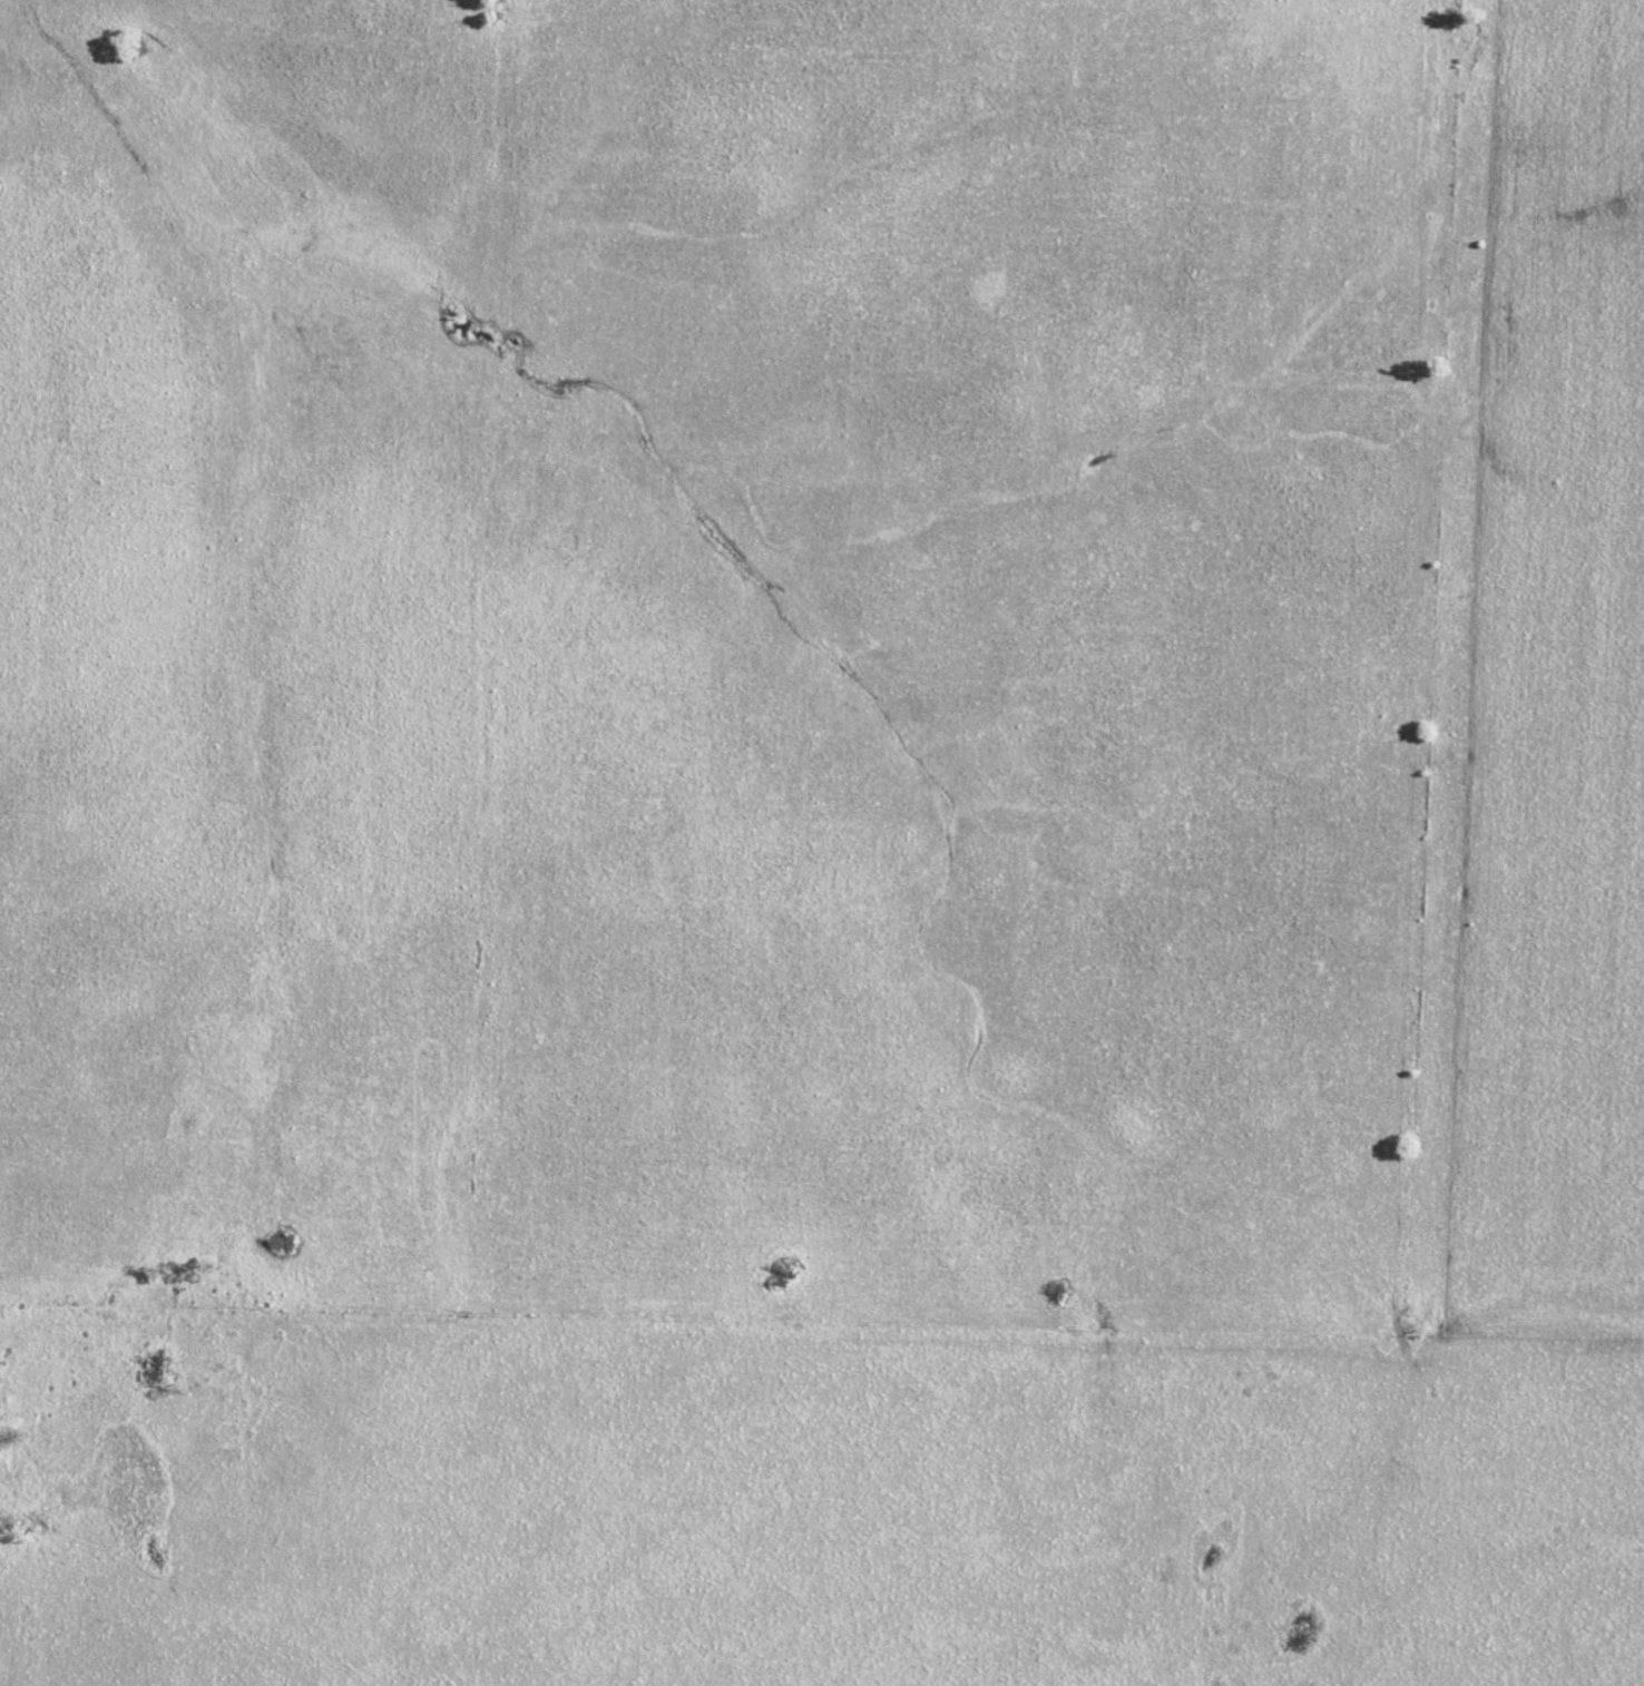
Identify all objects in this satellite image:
road: (1524, 1512)

